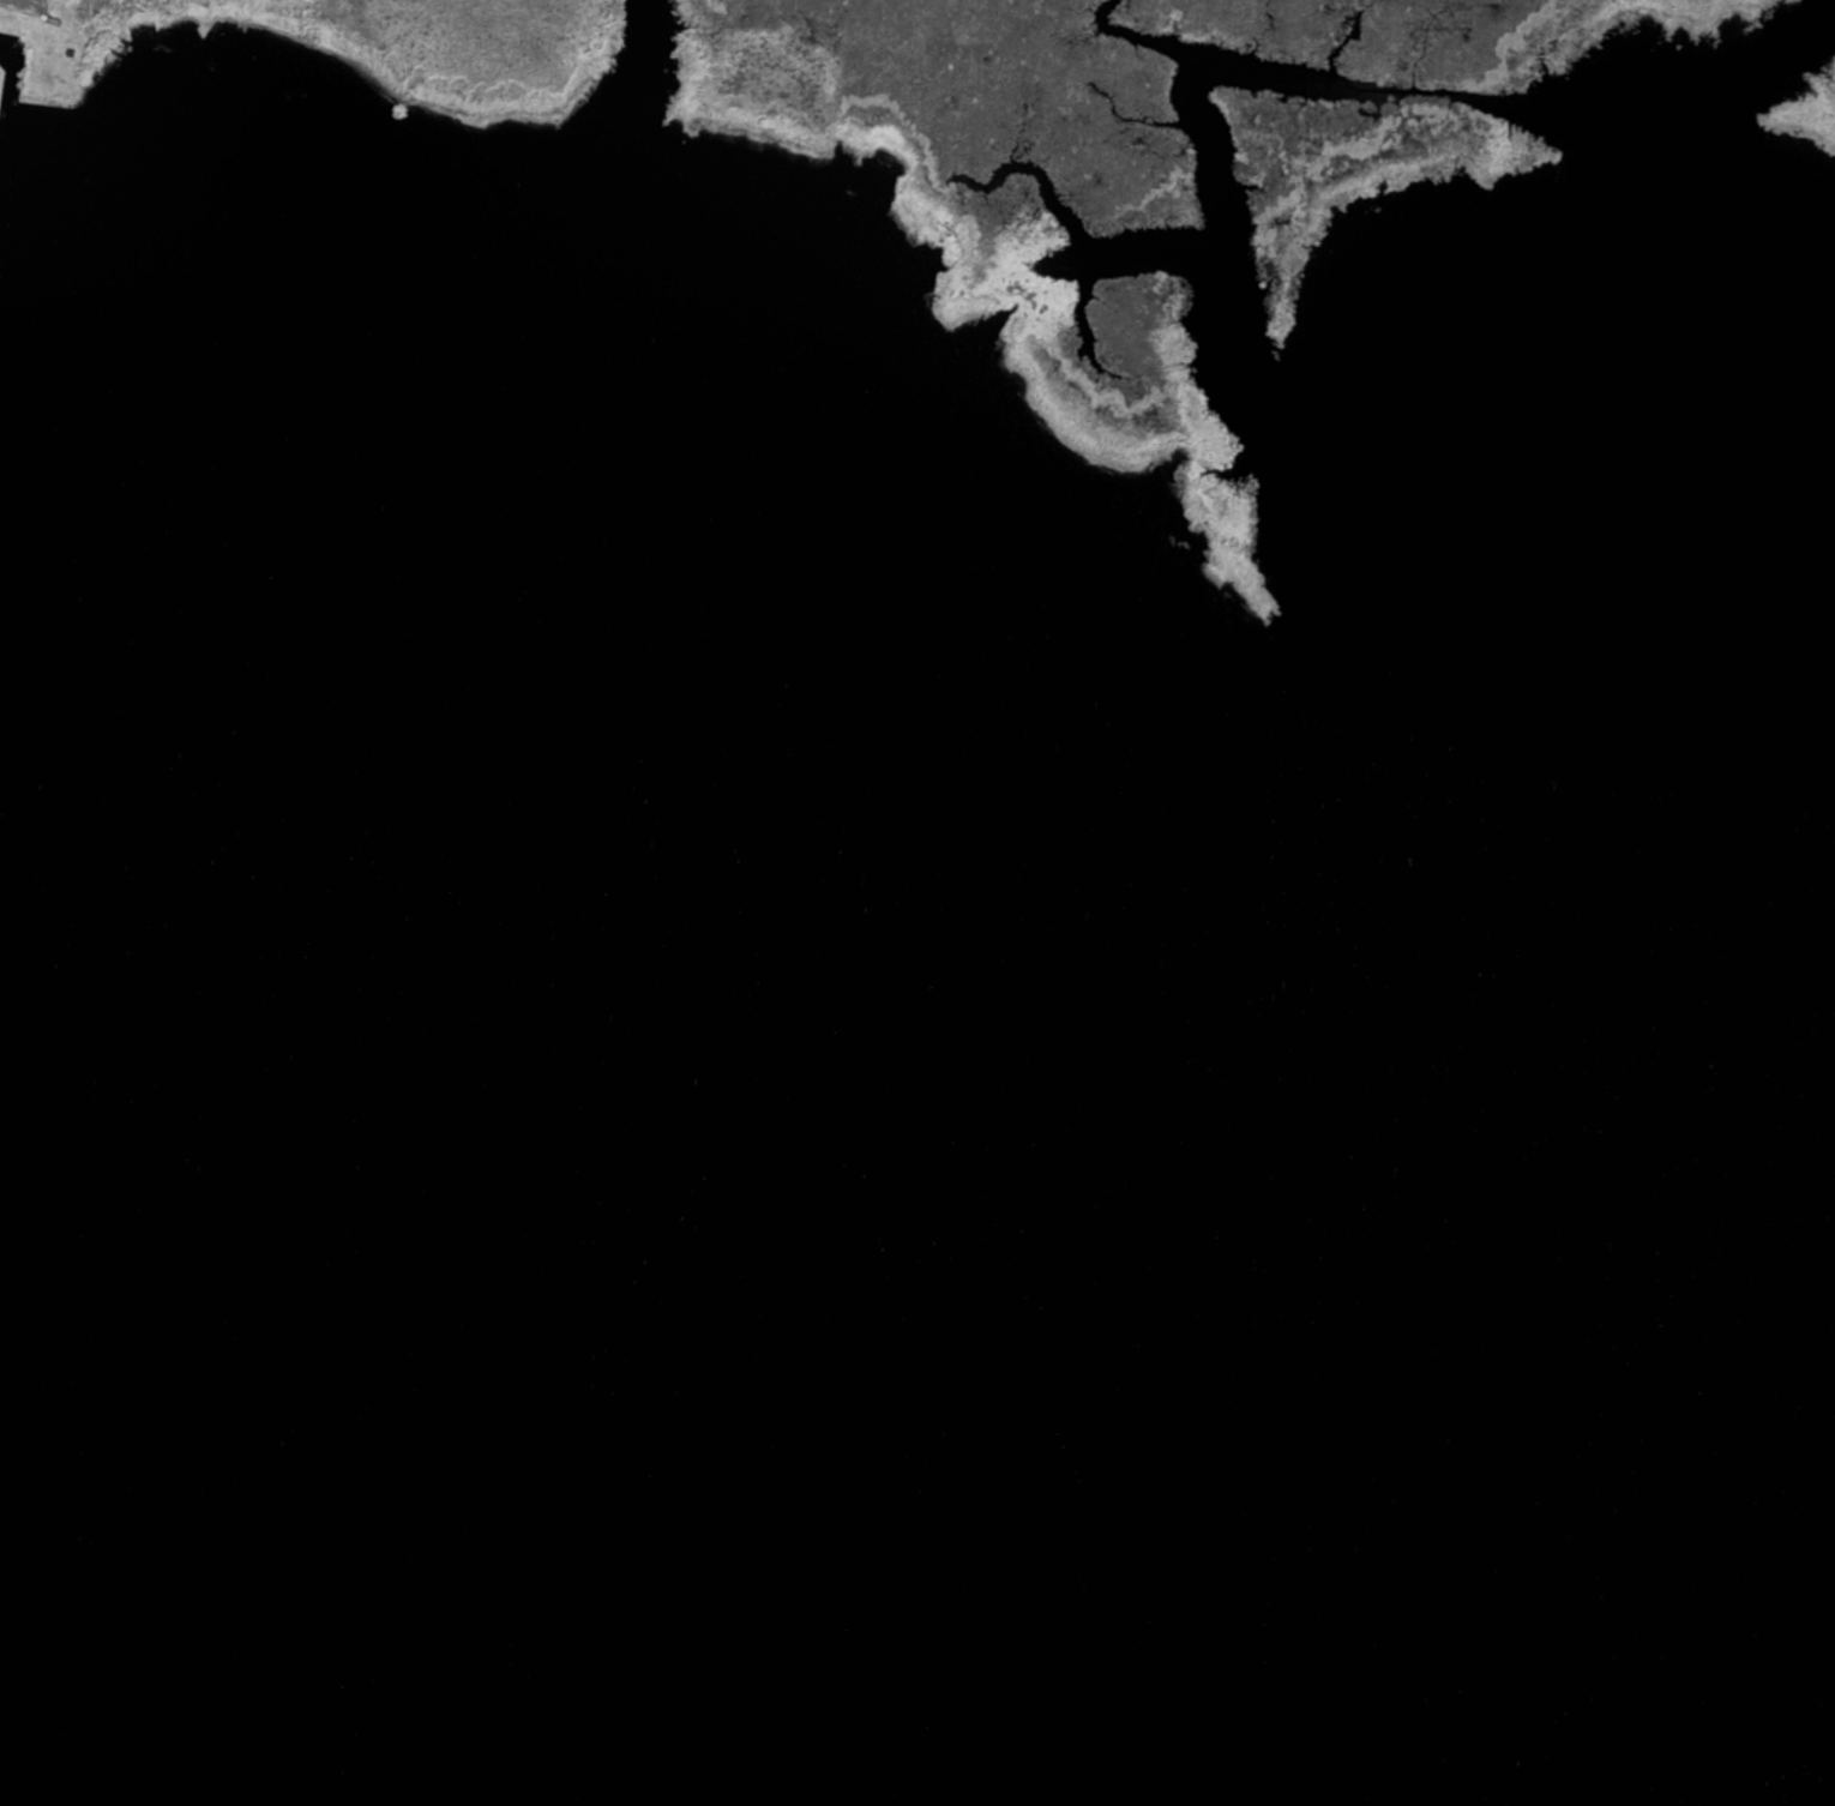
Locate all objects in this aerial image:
road: (40, 1)
parking lot: (28, 12)

